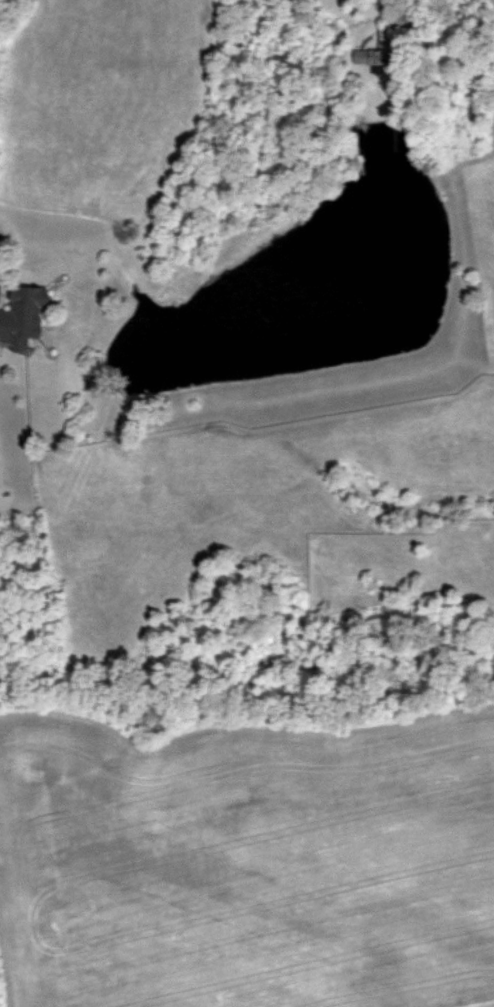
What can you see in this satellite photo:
building: (23, 316)

